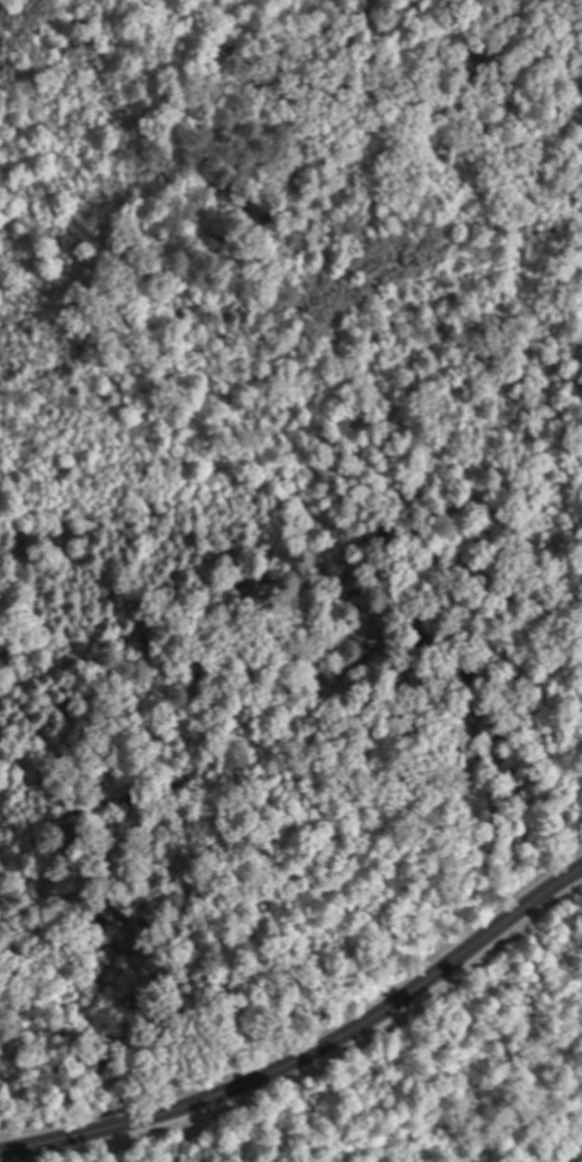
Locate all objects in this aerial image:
road: (312, 1043)

